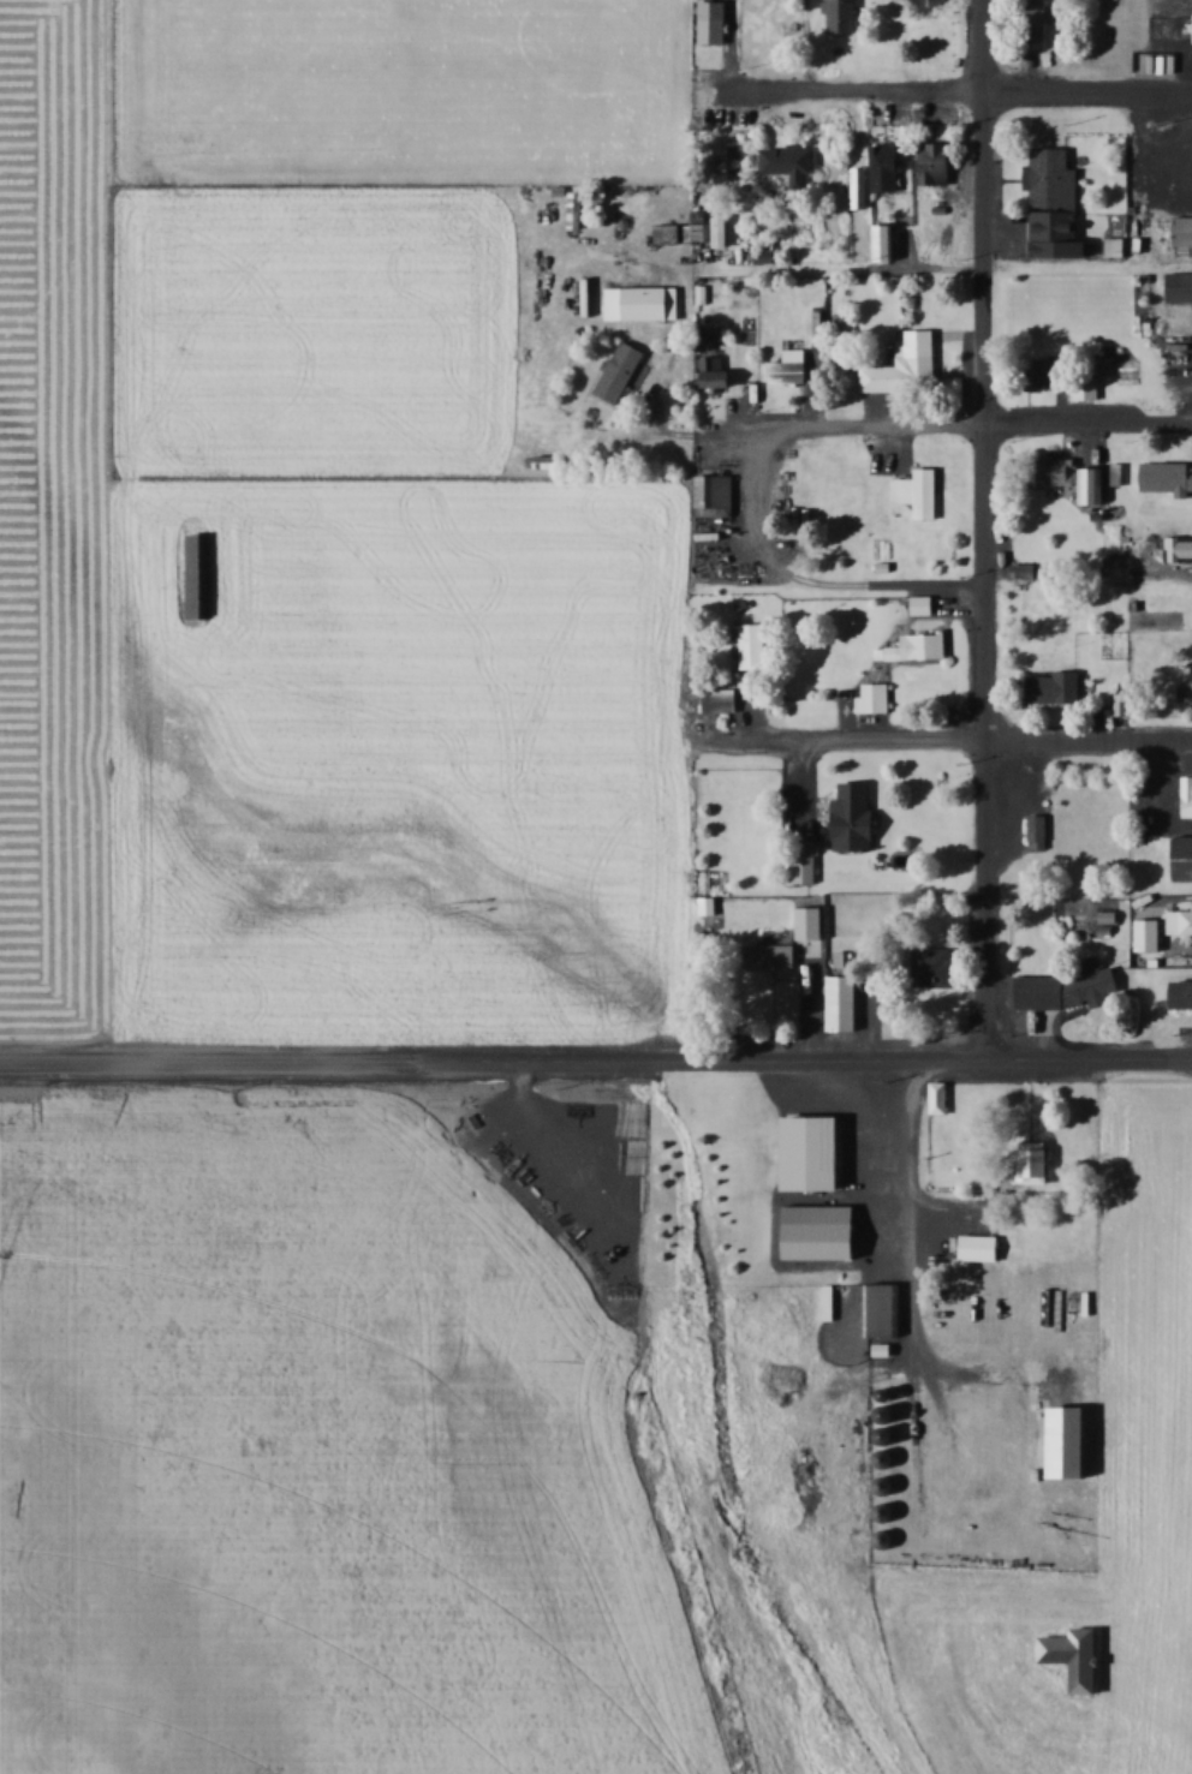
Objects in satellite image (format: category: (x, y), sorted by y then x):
building: (842, 14)
building: (1036, 19)
building: (714, 20)
road: (958, 94)
building: (788, 160)
building: (937, 162)
building: (722, 165)
building: (877, 174)
building: (1048, 177)
building: (577, 208)
building: (667, 232)
building: (1178, 232)
building: (1175, 287)
building: (642, 301)
building: (906, 364)
building: (789, 366)
building: (622, 371)
building: (715, 372)
building: (1047, 372)
road: (936, 418)
building: (547, 458)
building: (1057, 471)
building: (1167, 477)
building: (920, 491)
building: (716, 495)
road: (990, 530)
building: (1175, 548)
building: (1026, 569)
building: (199, 574)
building: (924, 603)
building: (752, 645)
building: (920, 645)
building: (1053, 686)
building: (1186, 689)
building: (875, 698)
building: (720, 700)
road: (938, 741)
building: (1186, 795)
building: (854, 817)
building: (1039, 826)
building: (1181, 858)
building: (710, 906)
building: (1180, 921)
building: (1149, 933)
building: (789, 944)
building: (934, 967)
building: (1069, 987)
building: (1181, 993)
building: (845, 1003)
road: (596, 1058)
building: (941, 1099)
building: (878, 1121)
building: (1036, 1164)
building: (628, 1166)
building: (818, 1244)
building: (981, 1247)
building: (882, 1307)
crop: (1144, 1325)
building: (1072, 1439)
building: (1068, 1653)

